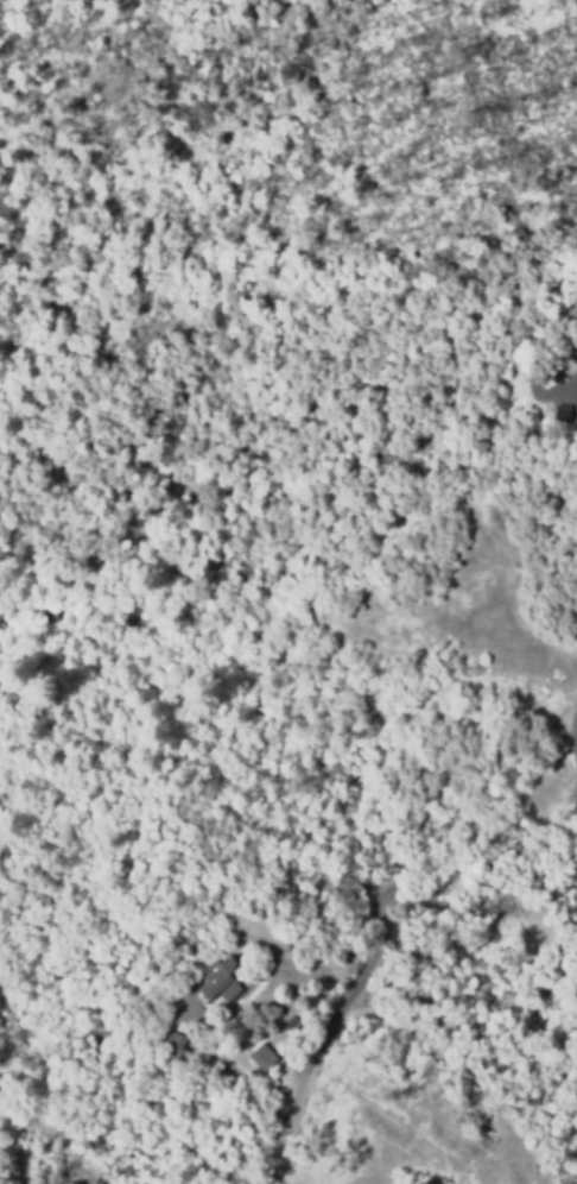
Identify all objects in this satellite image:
road: (383, 930)
building: (215, 982)
building: (175, 1043)
building: (261, 1056)
road: (55, 1148)

